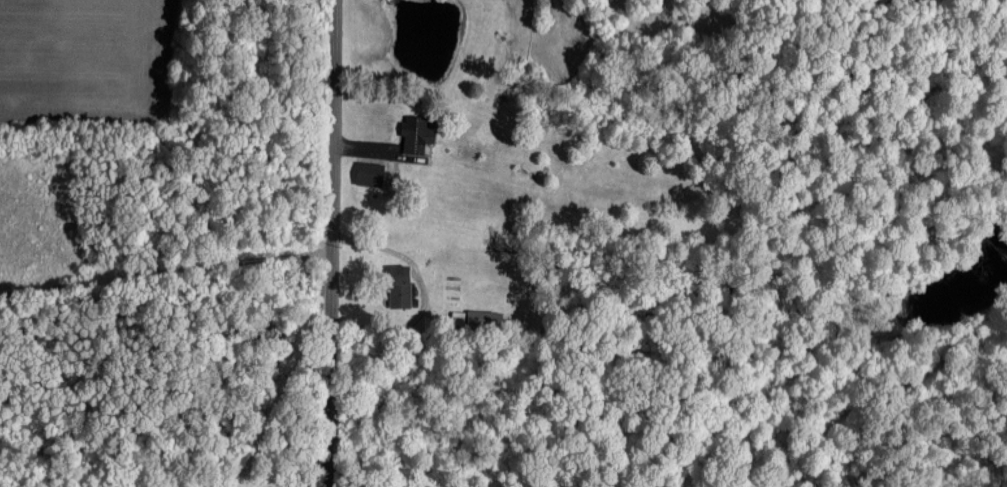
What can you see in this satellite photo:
building: (416, 132)
building: (368, 172)
road: (332, 243)
building: (399, 285)
road: (165, 297)
building: (458, 316)
building: (483, 316)

